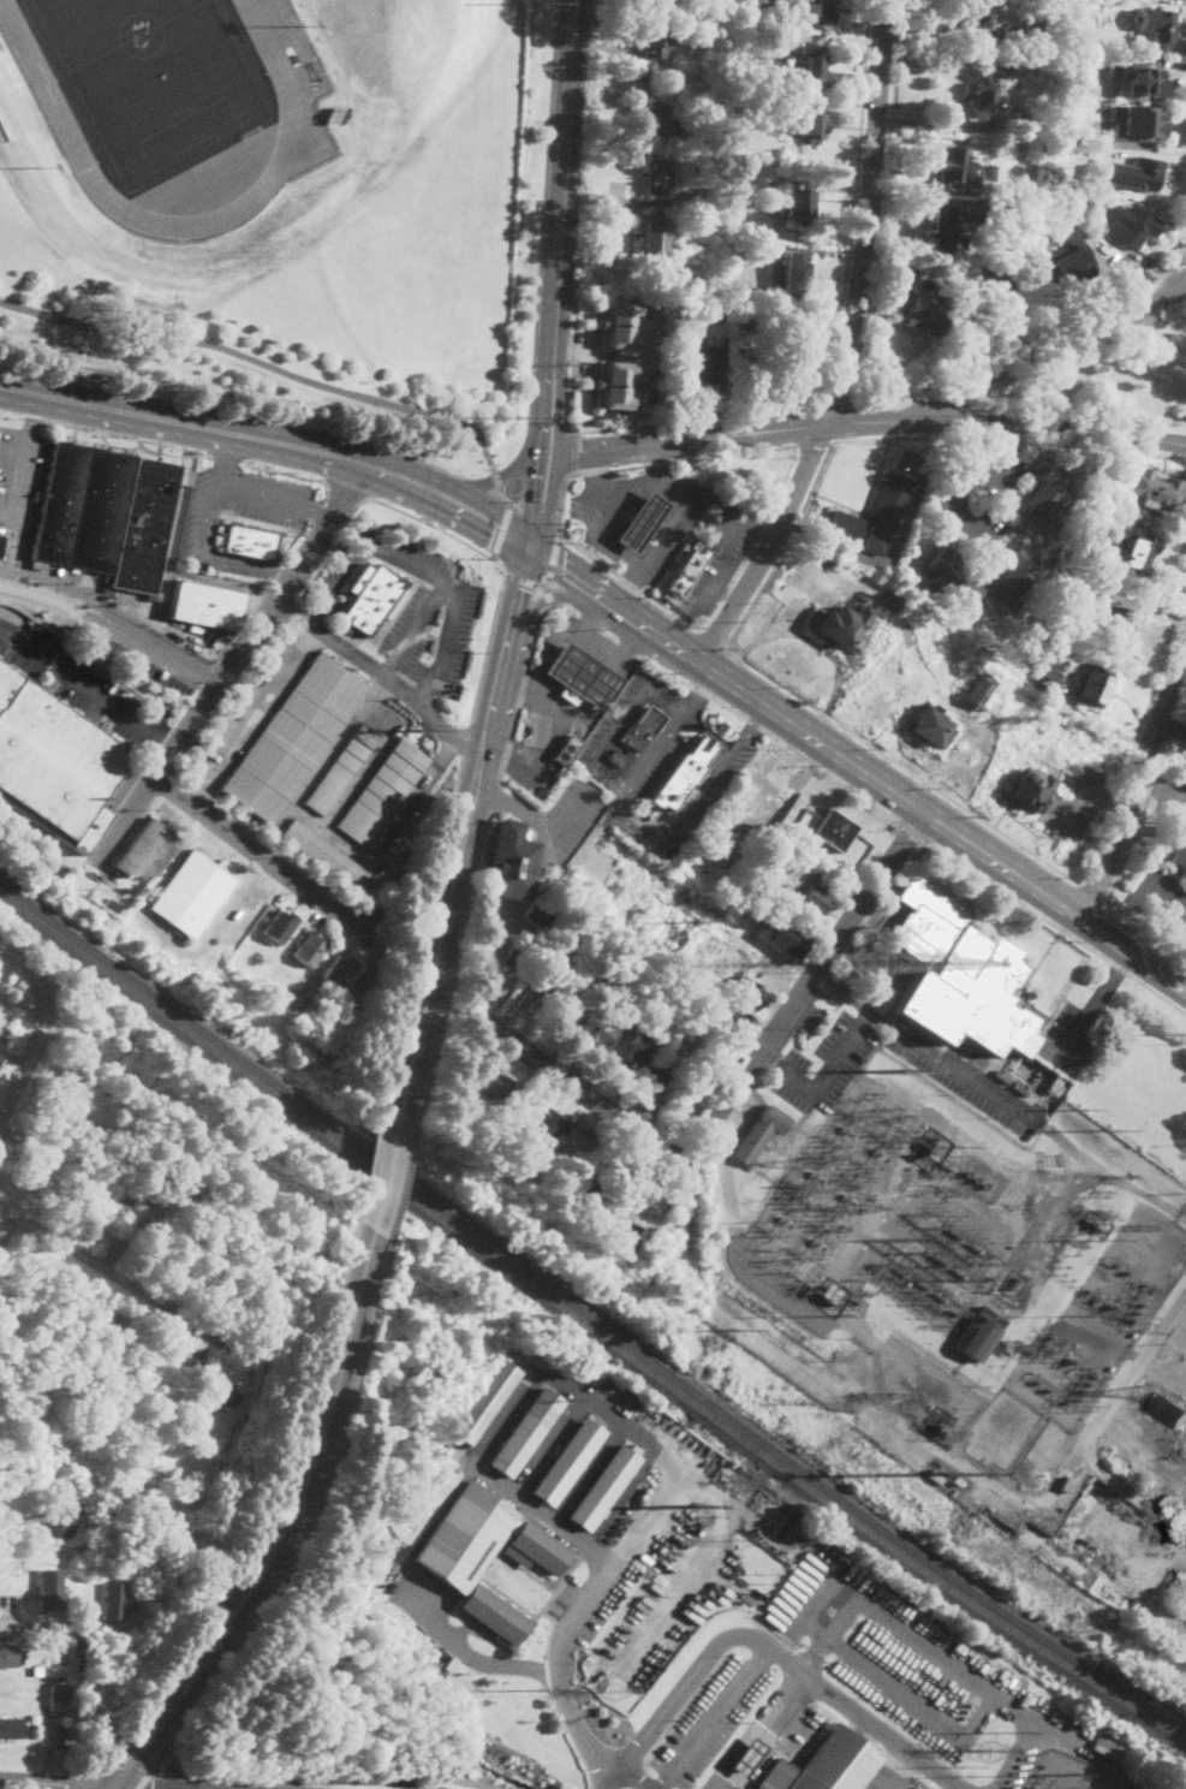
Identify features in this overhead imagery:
power tower: (541, 2)
building: (652, 4)
building: (823, 11)
building: (972, 12)
building: (697, 14)
building: (959, 16)
building: (1158, 29)
building: (1011, 34)
building: (652, 42)
building: (1026, 57)
building: (1074, 65)
building: (816, 67)
building: (697, 75)
building: (1137, 77)
park: (154, 79)
building: (991, 84)
track: (296, 114)
building: (661, 119)
building: (1138, 123)
building: (815, 127)
building: (958, 171)
building: (989, 171)
building: (1143, 174)
building: (658, 178)
road: (561, 184)
building: (1025, 189)
building: (708, 194)
building: (1050, 196)
road: (609, 197)
road: (940, 197)
road: (857, 204)
building: (797, 206)
road: (870, 214)
road: (583, 218)
building: (1021, 224)
building: (1132, 226)
building: (941, 227)
building: (657, 236)
building: (702, 246)
building: (1021, 249)
building: (1072, 266)
building: (989, 275)
building: (794, 277)
building: (926, 283)
building: (902, 292)
building: (721, 311)
building: (928, 314)
building: (781, 319)
building: (741, 321)
building: (620, 325)
road: (1043, 343)
building: (792, 347)
road: (595, 352)
park: (233, 358)
road: (260, 361)
building: (705, 364)
park: (1103, 378)
building: (615, 385)
road: (851, 392)
road: (830, 404)
road: (558, 409)
power tower: (514, 417)
road: (693, 418)
road: (1005, 421)
road: (841, 422)
road: (205, 426)
road: (806, 427)
road: (125, 435)
road: (893, 436)
road: (689, 438)
road: (1017, 438)
road: (813, 444)
road: (228, 450)
road: (574, 452)
road: (225, 457)
road: (701, 457)
road: (531, 458)
road: (657, 459)
road: (595, 468)
road: (282, 471)
road: (496, 477)
parking lot: (22, 479)
building: (705, 479)
road: (476, 482)
road: (350, 486)
building: (1102, 487)
road: (22, 488)
building: (1155, 489)
road: (956, 491)
road: (256, 495)
traffic signals: (529, 495)
road: (502, 498)
building: (1041, 500)
road: (517, 503)
road: (548, 503)
road: (696, 503)
parking lot: (238, 504)
road: (542, 506)
road: (473, 511)
road: (320, 513)
building: (107, 516)
building: (872, 518)
road: (560, 523)
building: (643, 523)
gas station: (643, 523)
road: (433, 525)
traffic signals: (496, 527)
road: (502, 529)
road: (758, 529)
building: (248, 542)
building: (1, 545)
road: (332, 545)
road: (767, 545)
building: (1086, 547)
road: (213, 549)
road: (205, 552)
parking lot: (720, 554)
building: (1136, 554)
road: (553, 561)
road: (499, 563)
road: (721, 569)
building: (687, 571)
traffic signals: (564, 573)
road: (344, 575)
road: (567, 576)
road: (279, 577)
road: (519, 577)
building: (950, 580)
building: (1011, 581)
road: (731, 582)
road: (628, 583)
road: (625, 584)
road: (541, 586)
traffic signals: (524, 587)
building: (1079, 592)
road: (549, 595)
building: (373, 598)
road: (437, 601)
road: (541, 602)
road: (519, 604)
building: (207, 606)
parking lot: (415, 608)
road: (596, 617)
road: (113, 624)
road: (680, 624)
building: (840, 624)
building: (1116, 625)
road: (711, 638)
road: (442, 640)
road: (633, 641)
road: (487, 647)
parking lot: (130, 658)
road: (547, 659)
road: (231, 665)
road: (382, 672)
road: (565, 673)
building: (1049, 677)
building: (583, 678)
gas station: (583, 678)
building: (1093, 683)
road: (520, 684)
parking lot: (83, 687)
road: (523, 689)
road: (88, 690)
road: (698, 690)
road: (764, 702)
road: (727, 707)
road: (1180, 709)
road: (585, 712)
road: (255, 714)
road: (620, 724)
road: (1173, 725)
building: (932, 727)
power tower: (421, 729)
building: (642, 729)
road: (708, 730)
road: (744, 735)
building: (293, 738)
road: (466, 739)
road: (1133, 749)
building: (568, 750)
road: (505, 753)
road: (651, 754)
building: (618, 759)
building: (54, 762)
road: (902, 763)
building: (342, 769)
building: (683, 774)
road: (1134, 784)
parking lot: (124, 786)
building: (1029, 789)
road: (1161, 790)
building: (383, 792)
road: (494, 797)
parking lot: (1178, 798)
road: (452, 803)
road: (517, 804)
road: (1140, 810)
parking lot: (576, 812)
road: (680, 815)
road: (561, 822)
road: (914, 828)
building: (835, 830)
road: (326, 832)
building: (401, 845)
building: (1173, 845)
building: (770, 849)
building: (144, 854)
road: (263, 855)
building: (324, 855)
building: (511, 861)
road: (453, 882)
building: (770, 888)
road: (1092, 891)
building: (193, 895)
road: (1056, 898)
road: (1162, 899)
building: (816, 901)
parking lot: (1161, 902)
building: (112, 904)
building: (759, 904)
building: (540, 917)
power tower: (699, 923)
road: (1057, 925)
building: (282, 926)
road: (1139, 937)
building: (543, 938)
building: (782, 938)
building: (686, 947)
building: (312, 949)
building: (518, 959)
road: (25, 962)
road: (452, 967)
building: (341, 971)
road: (413, 974)
road: (419, 974)
building: (960, 975)
road: (1111, 982)
building: (543, 988)
road: (840, 991)
building: (750, 993)
building: (294, 1004)
building: (568, 1008)
building: (733, 1022)
road: (895, 1029)
building: (600, 1032)
road: (1074, 1039)
parking lot: (1068, 1040)
building: (631, 1046)
building: (85, 1057)
road: (31, 1059)
building: (719, 1060)
parking lot: (954, 1072)
power tower: (905, 1074)
road: (733, 1075)
building: (491, 1081)
building: (1054, 1084)
building: (651, 1086)
power tower: (1077, 1117)
building: (546, 1129)
building: (473, 1134)
building: (761, 1136)
road: (371, 1157)
road: (377, 1160)
road: (388, 1170)
building: (38, 1178)
road: (403, 1179)
building: (139, 1197)
building: (583, 1201)
building: (121, 1208)
building: (83, 1213)
building: (529, 1217)
power tower: (956, 1237)
building: (628, 1240)
power substation: (967, 1247)
building: (0, 1259)
power tower: (937, 1260)
building: (0, 1265)
power tower: (954, 1271)
road: (123, 1276)
power tower: (1015, 1286)
railway: (588, 1310)
road: (1180, 1317)
railway: (586, 1324)
power tower: (733, 1330)
building: (981, 1335)
building: (172, 1357)
building: (162, 1359)
building: (193, 1362)
road: (318, 1385)
road: (326, 1390)
power tower: (1144, 1395)
building: (227, 1396)
building: (485, 1399)
power tower: (856, 1404)
building: (1172, 1409)
building: (526, 1431)
building: (710, 1454)
building: (568, 1462)
building: (935, 1478)
building: (956, 1481)
building: (604, 1486)
road: (300, 1487)
power tower: (698, 1508)
road: (312, 1510)
building: (60, 1518)
road: (729, 1529)
building: (465, 1535)
power tower: (741, 1543)
building: (540, 1546)
road: (660, 1562)
power tower: (764, 1585)
building: (50, 1588)
road: (500, 1591)
road: (591, 1591)
parking lot: (594, 1594)
building: (115, 1600)
parking lot: (673, 1603)
building: (494, 1612)
road: (41, 1624)
road: (552, 1629)
building: (78, 1641)
road: (769, 1650)
road: (181, 1651)
building: (10, 1656)
road: (815, 1656)
road: (473, 1657)
parking lot: (916, 1664)
building: (37, 1671)
road: (548, 1677)
power tower: (542, 1692)
power tower: (619, 1694)
building: (59, 1698)
building: (34, 1718)
road: (711, 1719)
parking lot: (709, 1720)
building: (10, 1728)
road: (962, 1734)
road: (1026, 1734)
road: (573, 1741)
road: (137, 1753)
power tower: (989, 1753)
building: (749, 1757)
road: (165, 1759)
road: (163, 1760)
building: (826, 1765)
road: (97, 1766)
road: (129, 1766)
road: (178, 1766)
power tower: (962, 1769)
road: (898, 1770)
road: (154, 1771)
power substation: (1071, 1773)
power tower: (990, 1777)
road: (81, 1778)
road: (634, 1778)
parking lot: (889, 1779)
road: (311, 1781)
road: (143, 1782)
road: (55, 1783)
traffic signals: (112, 1787)
road: (143, 1787)
road: (111, 1788)
road: (729, 1788)

